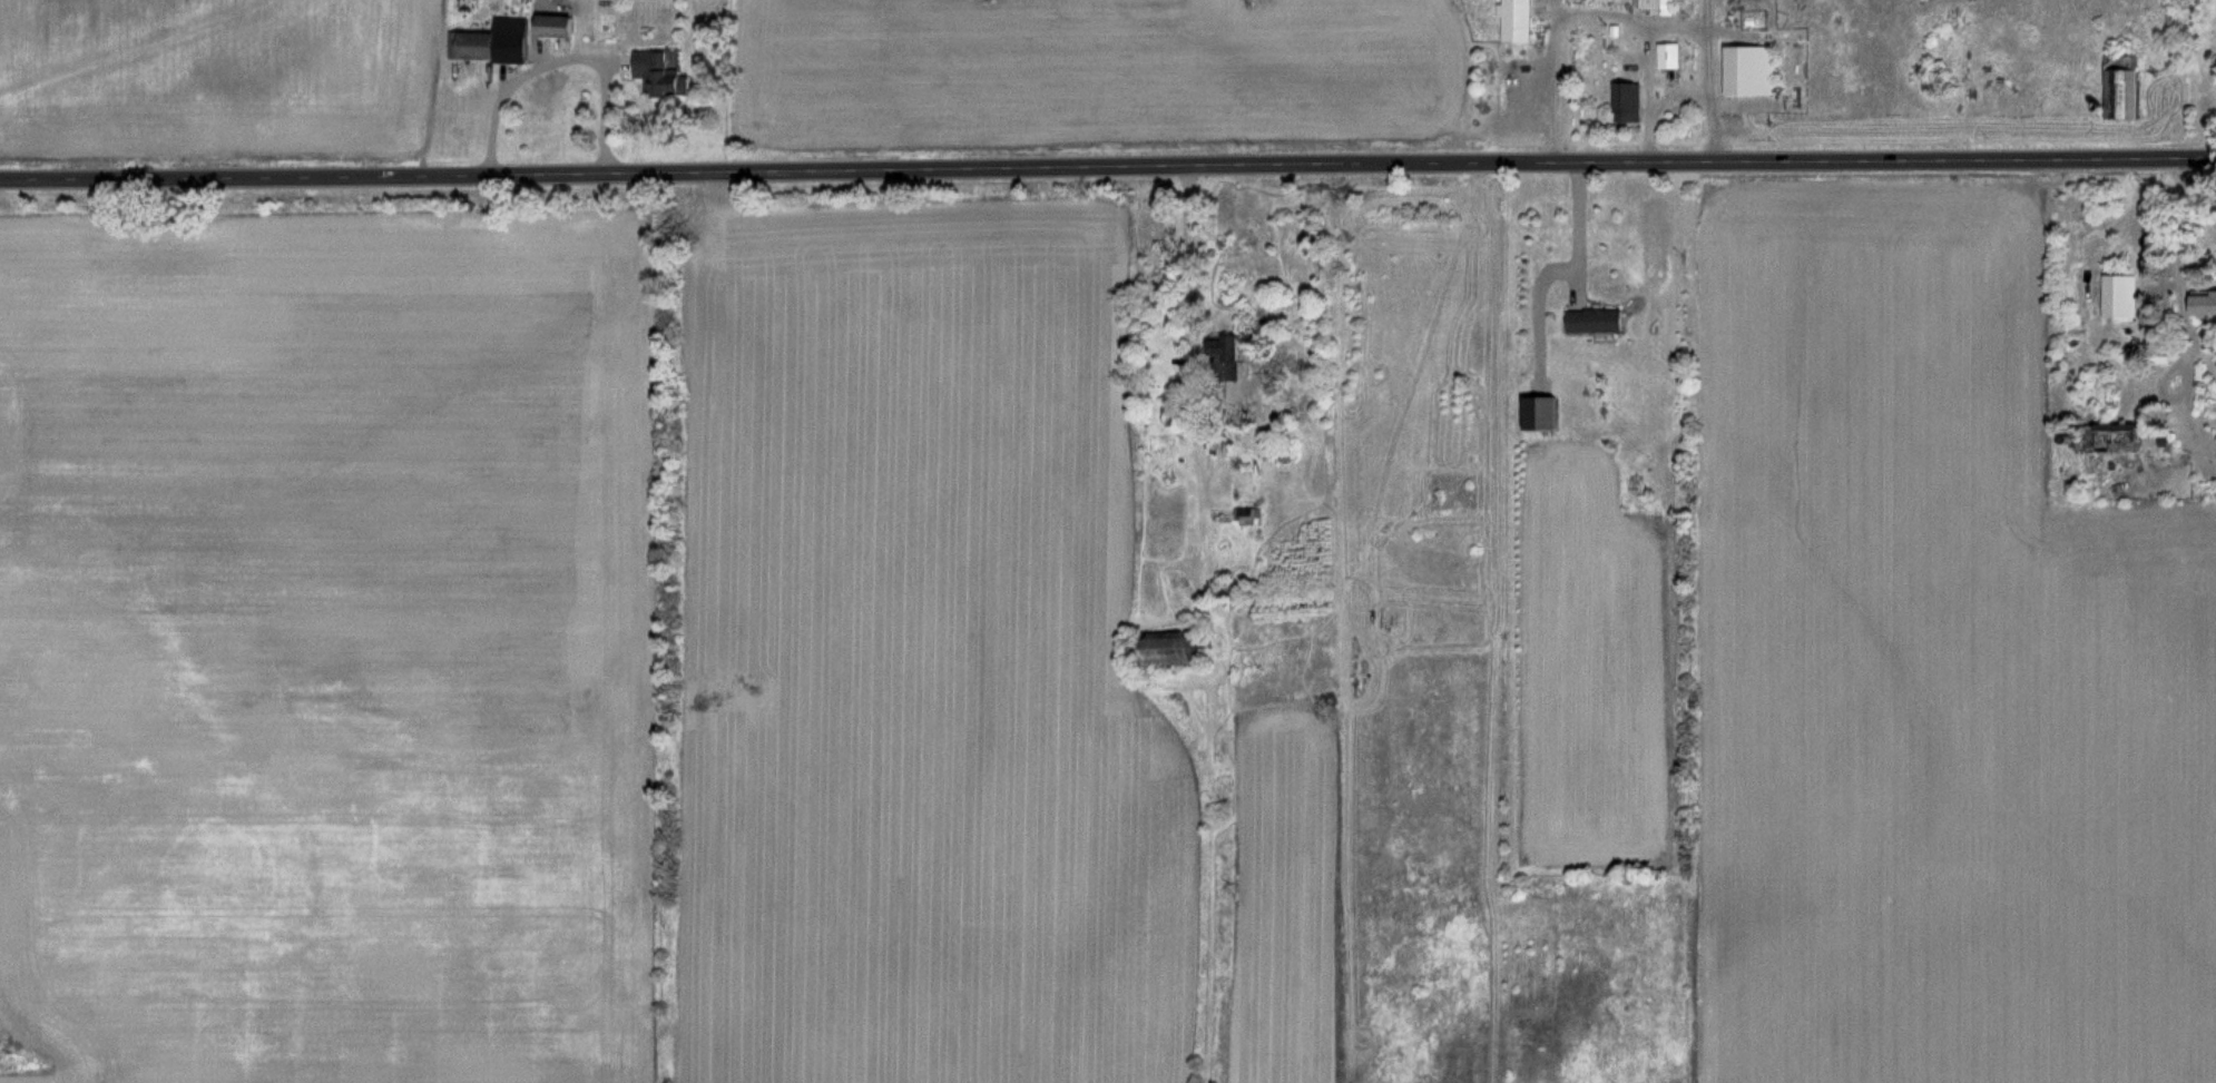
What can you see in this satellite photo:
building: (1659, 6)
building: (1522, 21)
building: (559, 26)
building: (496, 42)
building: (1671, 55)
road: (563, 57)
building: (1754, 70)
building: (663, 73)
building: (1940, 81)
building: (2128, 86)
building: (1631, 102)
road: (1107, 168)
road: (2180, 229)
road: (1579, 232)
road: (1192, 259)
building: (2122, 295)
building: (1600, 321)
building: (1229, 345)
building: (2119, 436)
building: (1248, 514)
building: (1184, 649)

